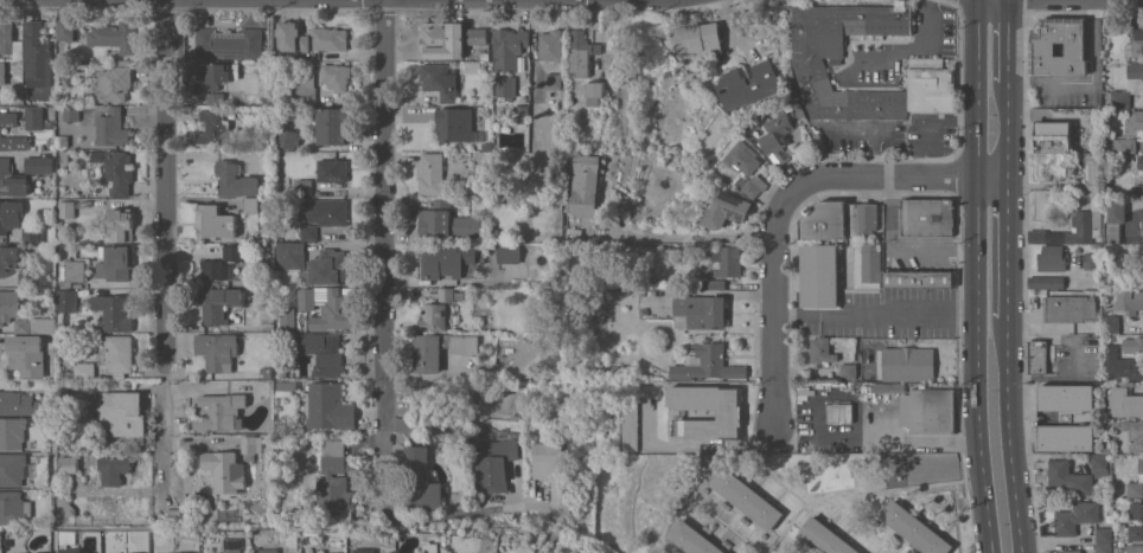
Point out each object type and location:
road: (730, 27)
building: (68, 30)
building: (1138, 32)
building: (114, 37)
building: (477, 37)
building: (7, 38)
building: (697, 38)
building: (313, 40)
building: (442, 40)
building: (230, 43)
building: (550, 45)
road: (1009, 45)
road: (917, 46)
building: (1058, 46)
building: (509, 47)
building: (581, 52)
building: (38, 56)
building: (807, 59)
building: (1135, 71)
building: (2, 73)
building: (336, 77)
building: (440, 81)
building: (554, 81)
road: (1088, 81)
building: (114, 82)
building: (212, 82)
building: (748, 85)
building: (931, 85)
building: (305, 88)
building: (505, 88)
building: (594, 92)
building: (4, 97)
building: (1120, 98)
building: (69, 112)
building: (522, 115)
building: (34, 117)
building: (1138, 122)
building: (455, 124)
building: (333, 126)
building: (111, 128)
building: (215, 128)
building: (0, 131)
road: (1009, 133)
building: (1051, 136)
building: (778, 137)
building: (288, 139)
building: (1125, 146)
building: (743, 157)
building: (1139, 165)
building: (39, 166)
building: (332, 171)
building: (119, 172)
building: (1092, 172)
building: (432, 174)
building: (12, 180)
building: (235, 180)
building: (586, 185)
building: (302, 186)
building: (755, 186)
road: (786, 198)
building: (250, 205)
building: (66, 210)
building: (727, 210)
building: (332, 212)
building: (9, 216)
building: (927, 217)
building: (438, 219)
building: (838, 220)
building: (1115, 220)
building: (1142, 221)
building: (215, 223)
building: (121, 225)
building: (1074, 227)
building: (308, 232)
building: (31, 234)
road: (679, 234)
road: (165, 245)
building: (232, 252)
building: (509, 253)
road: (1009, 253)
building: (290, 255)
building: (1052, 258)
building: (9, 259)
building: (446, 259)
building: (729, 261)
building: (1091, 261)
building: (115, 263)
building: (867, 265)
building: (330, 268)
building: (215, 270)
building: (71, 272)
building: (819, 275)
road: (975, 276)
building: (26, 278)
building: (919, 278)
building: (1046, 282)
building: (716, 283)
building: (449, 295)
building: (1129, 300)
building: (66, 301)
building: (218, 304)
building: (11, 306)
building: (325, 307)
building: (1069, 308)
building: (115, 311)
building: (700, 311)
road: (879, 315)
building: (434, 317)
building: (287, 320)
road: (387, 322)
building: (1111, 324)
building: (36, 326)
building: (1134, 346)
building: (440, 349)
building: (822, 349)
building: (217, 351)
building: (116, 354)
building: (324, 354)
building: (32, 355)
building: (1036, 356)
building: (708, 364)
building: (906, 364)
building: (1128, 369)
building: (82, 371)
building: (617, 371)
building: (849, 371)
building: (266, 373)
building: (889, 388)
building: (1066, 397)
building: (1124, 403)
building: (20, 404)
building: (330, 406)
building: (931, 410)
building: (222, 412)
building: (123, 414)
building: (729, 414)
building: (631, 425)
building: (13, 432)
building: (1067, 437)
building: (1132, 437)
road: (926, 438)
road: (1011, 443)
building: (253, 444)
building: (68, 464)
building: (492, 465)
building: (1099, 465)
building: (12, 469)
building: (113, 470)
building: (224, 470)
building: (554, 474)
building: (1069, 477)
building: (420, 480)
building: (334, 481)
building: (1136, 484)
building: (747, 497)
building: (64, 507)
building: (14, 508)
building: (1137, 510)
building: (172, 516)
building: (1075, 516)
building: (914, 528)
building: (1136, 533)
building: (1103, 534)
building: (826, 536)
building: (694, 539)
building: (1120, 544)
building: (429, 547)
building: (1103, 548)
building: (1135, 548)
building: (267, 549)
building: (69, 551)
building: (234, 551)
building: (364, 551)
building: (1069, 551)
building: (190, 552)

